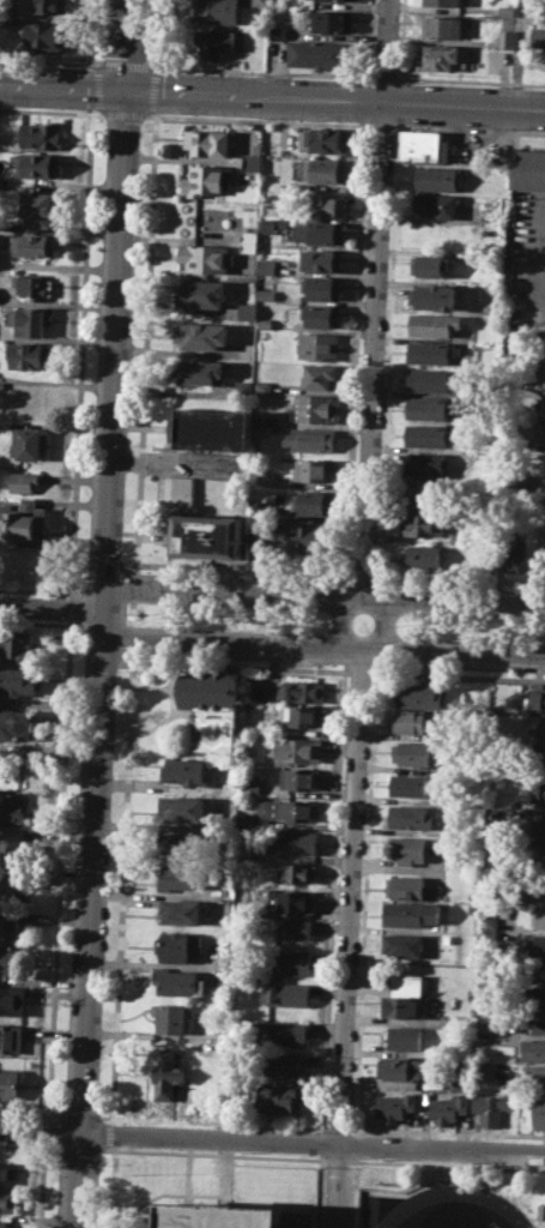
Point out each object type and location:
building: (327, 0)
building: (341, 0)
building: (259, 2)
building: (442, 2)
building: (50, 6)
building: (505, 10)
building: (214, 11)
building: (1, 16)
building: (539, 18)
building: (331, 20)
building: (442, 26)
building: (277, 31)
building: (44, 36)
road: (161, 36)
building: (505, 37)
building: (538, 37)
road: (369, 40)
road: (400, 41)
building: (217, 42)
road: (125, 44)
road: (384, 49)
building: (317, 53)
road: (519, 53)
building: (440, 56)
road: (50, 60)
road: (125, 64)
street lamp: (81, 66)
road: (260, 70)
street lamp: (182, 71)
street lamp: (265, 74)
road: (383, 76)
street lamp: (364, 78)
street lamp: (410, 79)
road: (470, 80)
street lamp: (509, 85)
road: (156, 91)
road: (272, 96)
road: (367, 100)
road: (398, 102)
road: (97, 113)
road: (155, 113)
road: (122, 114)
road: (258, 119)
road: (367, 122)
road: (382, 125)
road: (468, 128)
street lamp: (139, 130)
building: (41, 134)
building: (323, 139)
building: (207, 142)
street lamp: (393, 142)
building: (423, 145)
building: (252, 161)
building: (38, 164)
building: (528, 168)
building: (325, 170)
building: (435, 177)
building: (205, 180)
building: (1, 182)
building: (326, 205)
building: (436, 205)
building: (38, 207)
building: (268, 225)
street lamp: (134, 229)
building: (321, 231)
building: (250, 240)
building: (32, 243)
street lamp: (388, 257)
building: (205, 258)
building: (321, 260)
building: (267, 265)
building: (429, 265)
building: (35, 285)
building: (322, 287)
building: (266, 293)
building: (204, 294)
building: (435, 295)
road: (84, 308)
building: (321, 317)
building: (31, 319)
building: (432, 323)
building: (200, 335)
street lamp: (131, 338)
road: (145, 343)
building: (319, 344)
road: (356, 349)
road: (373, 349)
road: (388, 349)
building: (430, 350)
building: (32, 355)
street lamp: (383, 361)
building: (543, 368)
building: (200, 371)
building: (321, 377)
building: (429, 379)
building: (262, 385)
building: (242, 387)
building: (543, 401)
building: (311, 408)
building: (425, 408)
building: (213, 428)
building: (260, 428)
building: (540, 429)
building: (426, 434)
building: (311, 438)
building: (26, 443)
street lamp: (126, 444)
building: (424, 462)
building: (314, 469)
building: (23, 481)
building: (424, 489)
building: (544, 501)
building: (310, 502)
building: (260, 510)
building: (23, 522)
building: (420, 522)
building: (207, 535)
building: (456, 536)
building: (309, 537)
building: (256, 538)
building: (514, 554)
building: (420, 555)
road: (243, 568)
street lamp: (374, 570)
road: (363, 576)
road: (459, 579)
road: (134, 586)
road: (36, 590)
road: (321, 595)
street lamp: (147, 602)
road: (71, 607)
street lamp: (241, 607)
road: (54, 608)
street lamp: (317, 610)
fountain: (138, 612)
street lamp: (127, 613)
road: (133, 613)
street lamp: (404, 614)
street lamp: (497, 618)
street lamp: (65, 620)
road: (337, 620)
road: (35, 622)
road: (382, 622)
street lamp: (394, 624)
street lamp: (146, 625)
street lamp: (240, 627)
street lamp: (317, 632)
street lamp: (402, 634)
road: (132, 638)
street lamp: (495, 639)
road: (320, 643)
building: (17, 648)
road: (105, 658)
road: (240, 667)
street lamp: (117, 670)
road: (358, 672)
road: (458, 675)
street lamp: (369, 678)
building: (18, 681)
building: (301, 691)
building: (418, 696)
building: (539, 699)
building: (211, 706)
building: (304, 716)
building: (411, 722)
building: (16, 724)
building: (541, 728)
building: (296, 751)
building: (411, 751)
building: (539, 759)
building: (184, 770)
building: (544, 771)
street lamp: (113, 773)
building: (299, 778)
street lamp: (365, 781)
building: (412, 784)
building: (248, 785)
building: (538, 791)
building: (182, 807)
building: (11, 808)
building: (286, 811)
building: (408, 817)
building: (246, 820)
building: (539, 823)
building: (183, 842)
building: (290, 842)
building: (11, 845)
building: (408, 848)
building: (247, 853)
building: (538, 854)
road: (59, 868)
building: (296, 872)
building: (177, 877)
building: (534, 884)
street lamp: (108, 885)
building: (13, 886)
building: (405, 886)
road: (122, 887)
street lamp: (361, 889)
road: (332, 899)
building: (293, 901)
road: (365, 901)
building: (181, 910)
building: (410, 913)
building: (489, 916)
building: (538, 916)
building: (10, 922)
building: (291, 928)
road: (349, 937)
building: (537, 944)
building: (402, 945)
building: (180, 946)
building: (12, 959)
building: (290, 961)
building: (537, 970)
building: (181, 982)
building: (285, 994)
building: (405, 997)
building: (535, 997)
building: (12, 999)
street lamp: (102, 999)
street lamp: (356, 1001)
building: (170, 1016)
building: (534, 1021)
building: (285, 1034)
building: (405, 1036)
building: (11, 1039)
building: (532, 1048)
building: (284, 1065)
building: (402, 1067)
building: (484, 1072)
building: (166, 1073)
building: (533, 1074)
building: (10, 1083)
building: (458, 1083)
building: (278, 1097)
building: (394, 1104)
street lamp: (98, 1108)
building: (447, 1108)
building: (490, 1109)
street lamp: (351, 1112)
road: (29, 1113)
building: (539, 1113)
road: (79, 1115)
road: (214, 1121)
road: (339, 1127)
road: (46, 1131)
road: (447, 1132)
road: (115, 1133)
road: (272, 1139)
road: (26, 1145)
street lamp: (131, 1146)
road: (78, 1148)
street lamp: (243, 1152)
road: (214, 1154)
road: (338, 1158)
street lamp: (357, 1158)
street lamp: (465, 1161)
street lamp: (99, 1163)
road: (447, 1163)
road: (187, 1168)
road: (225, 1170)
building: (7, 1172)
road: (42, 1185)
road: (114, 1186)
parking lot: (337, 1197)
building: (8, 1199)
road: (402, 1204)
parking lot: (453, 1205)
road: (459, 1206)
building: (237, 1216)
building: (4, 1223)

